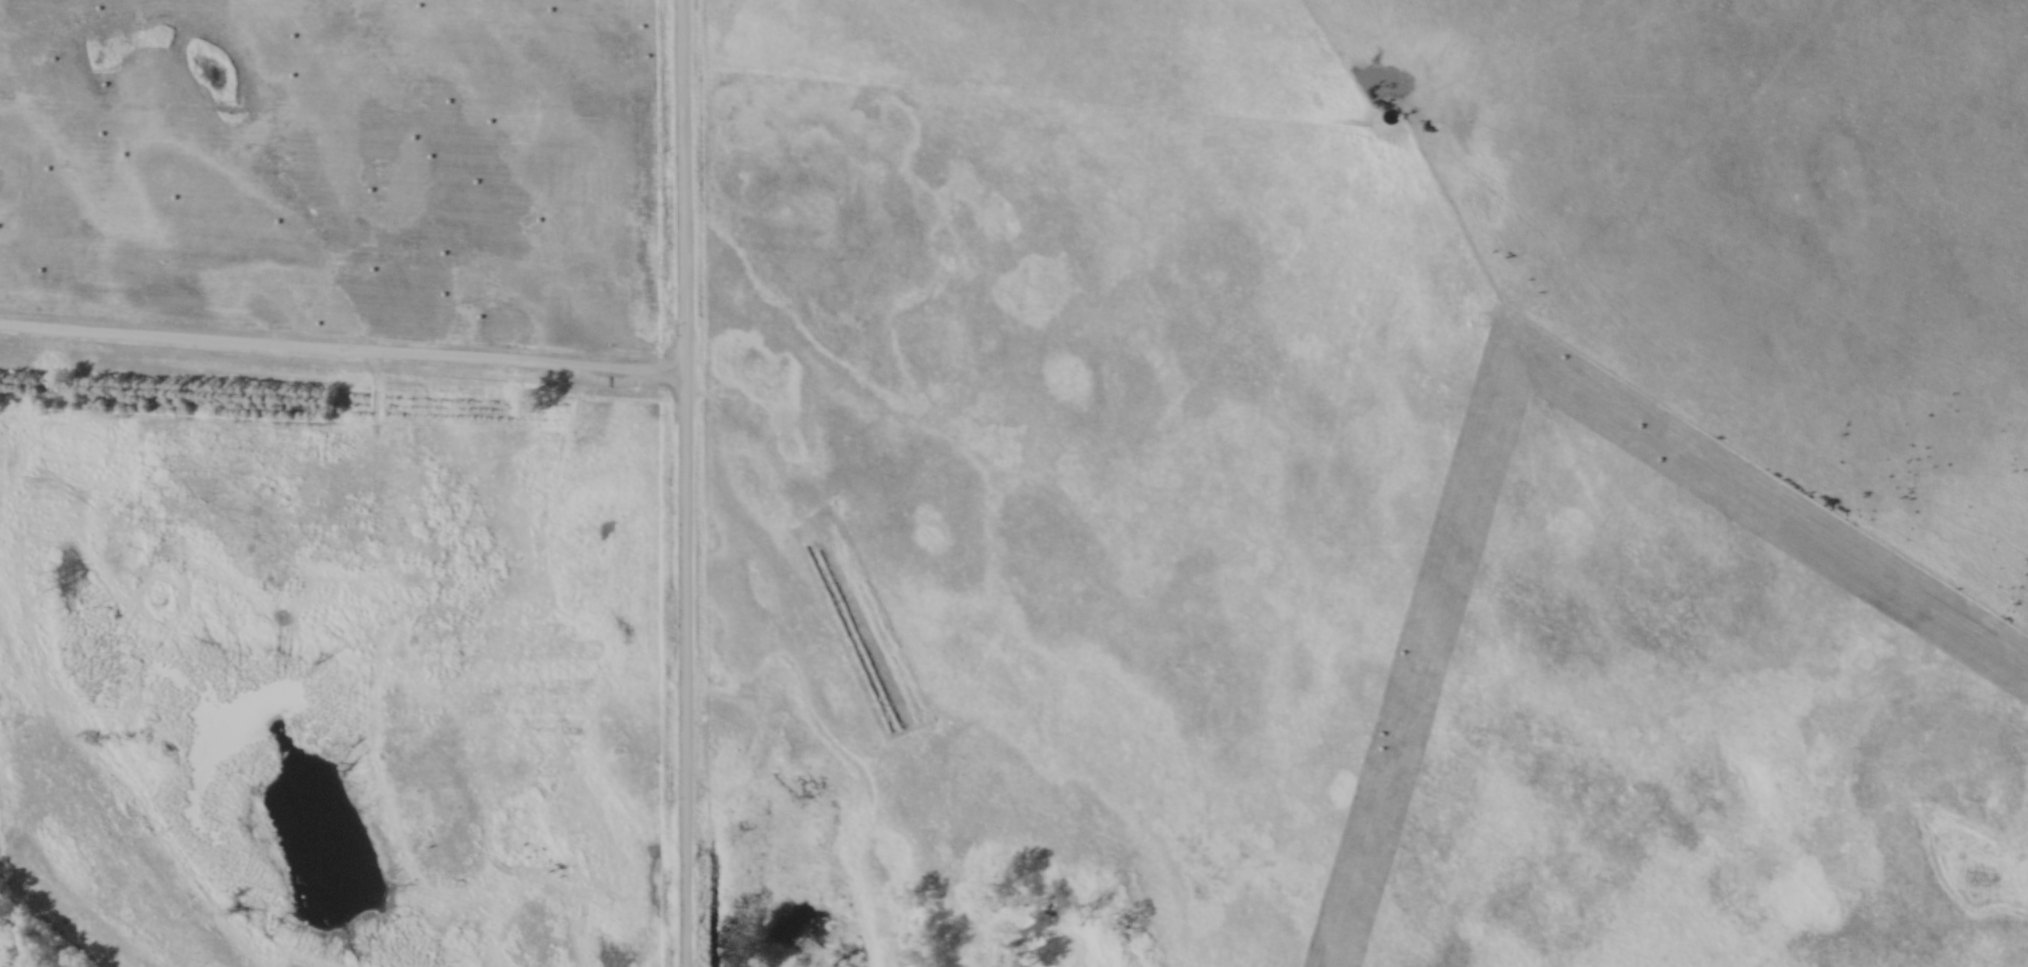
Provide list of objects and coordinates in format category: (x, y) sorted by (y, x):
road: (342, 353)
road: (686, 483)

